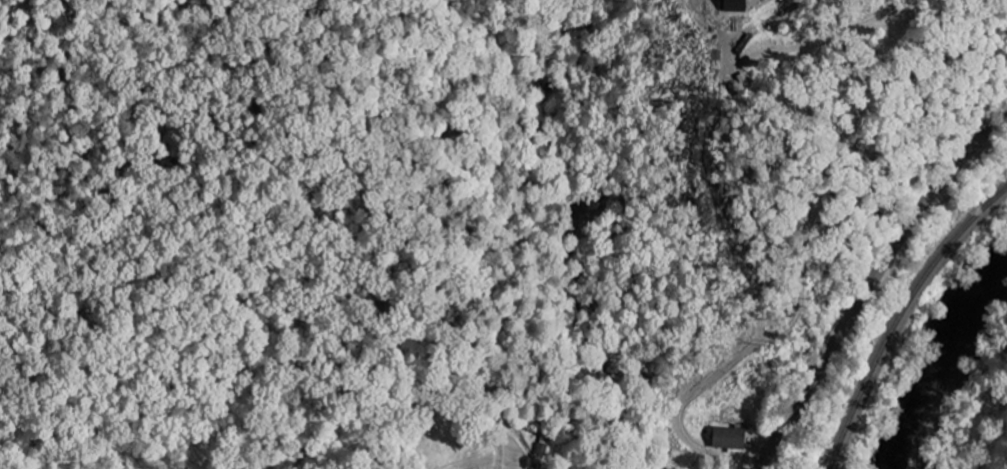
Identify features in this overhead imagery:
building: (738, 5)
road: (869, 284)
railway: (903, 320)
river: (936, 358)
building: (732, 437)

